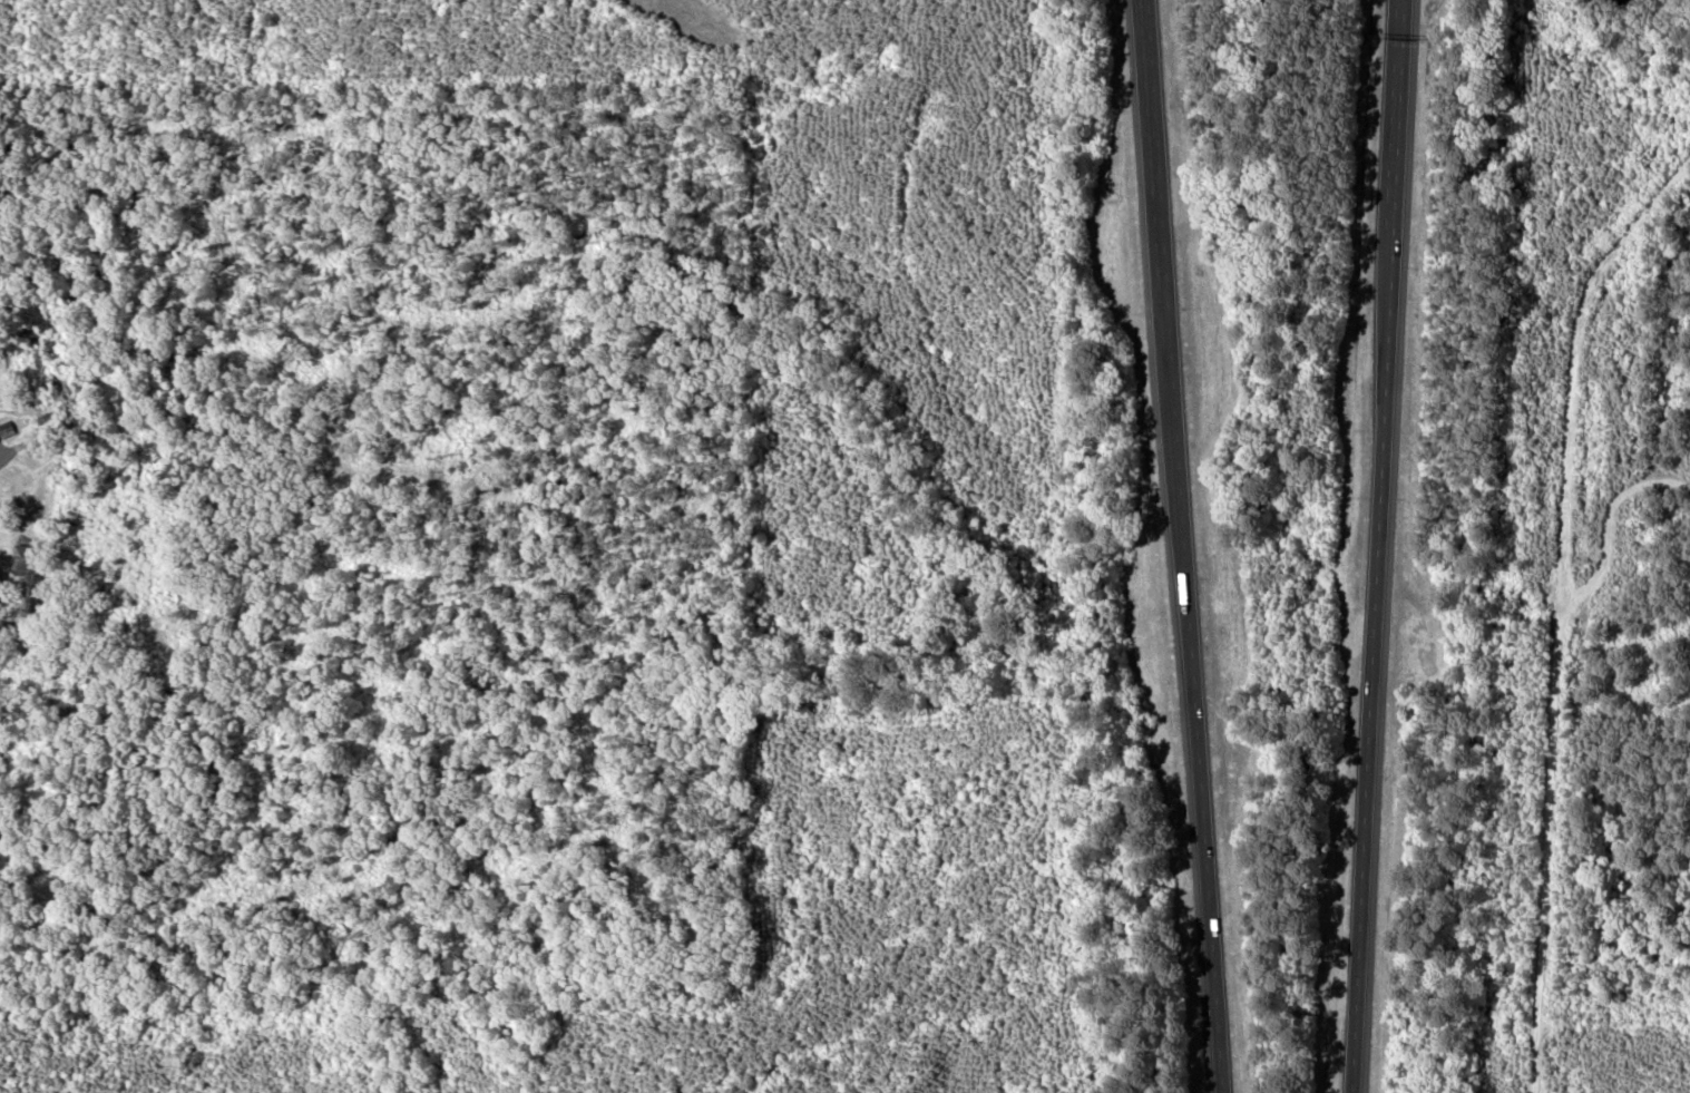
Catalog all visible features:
road: (1396, 116)
road: (1162, 254)
road: (1549, 596)
road: (1372, 663)
road: (1202, 800)

